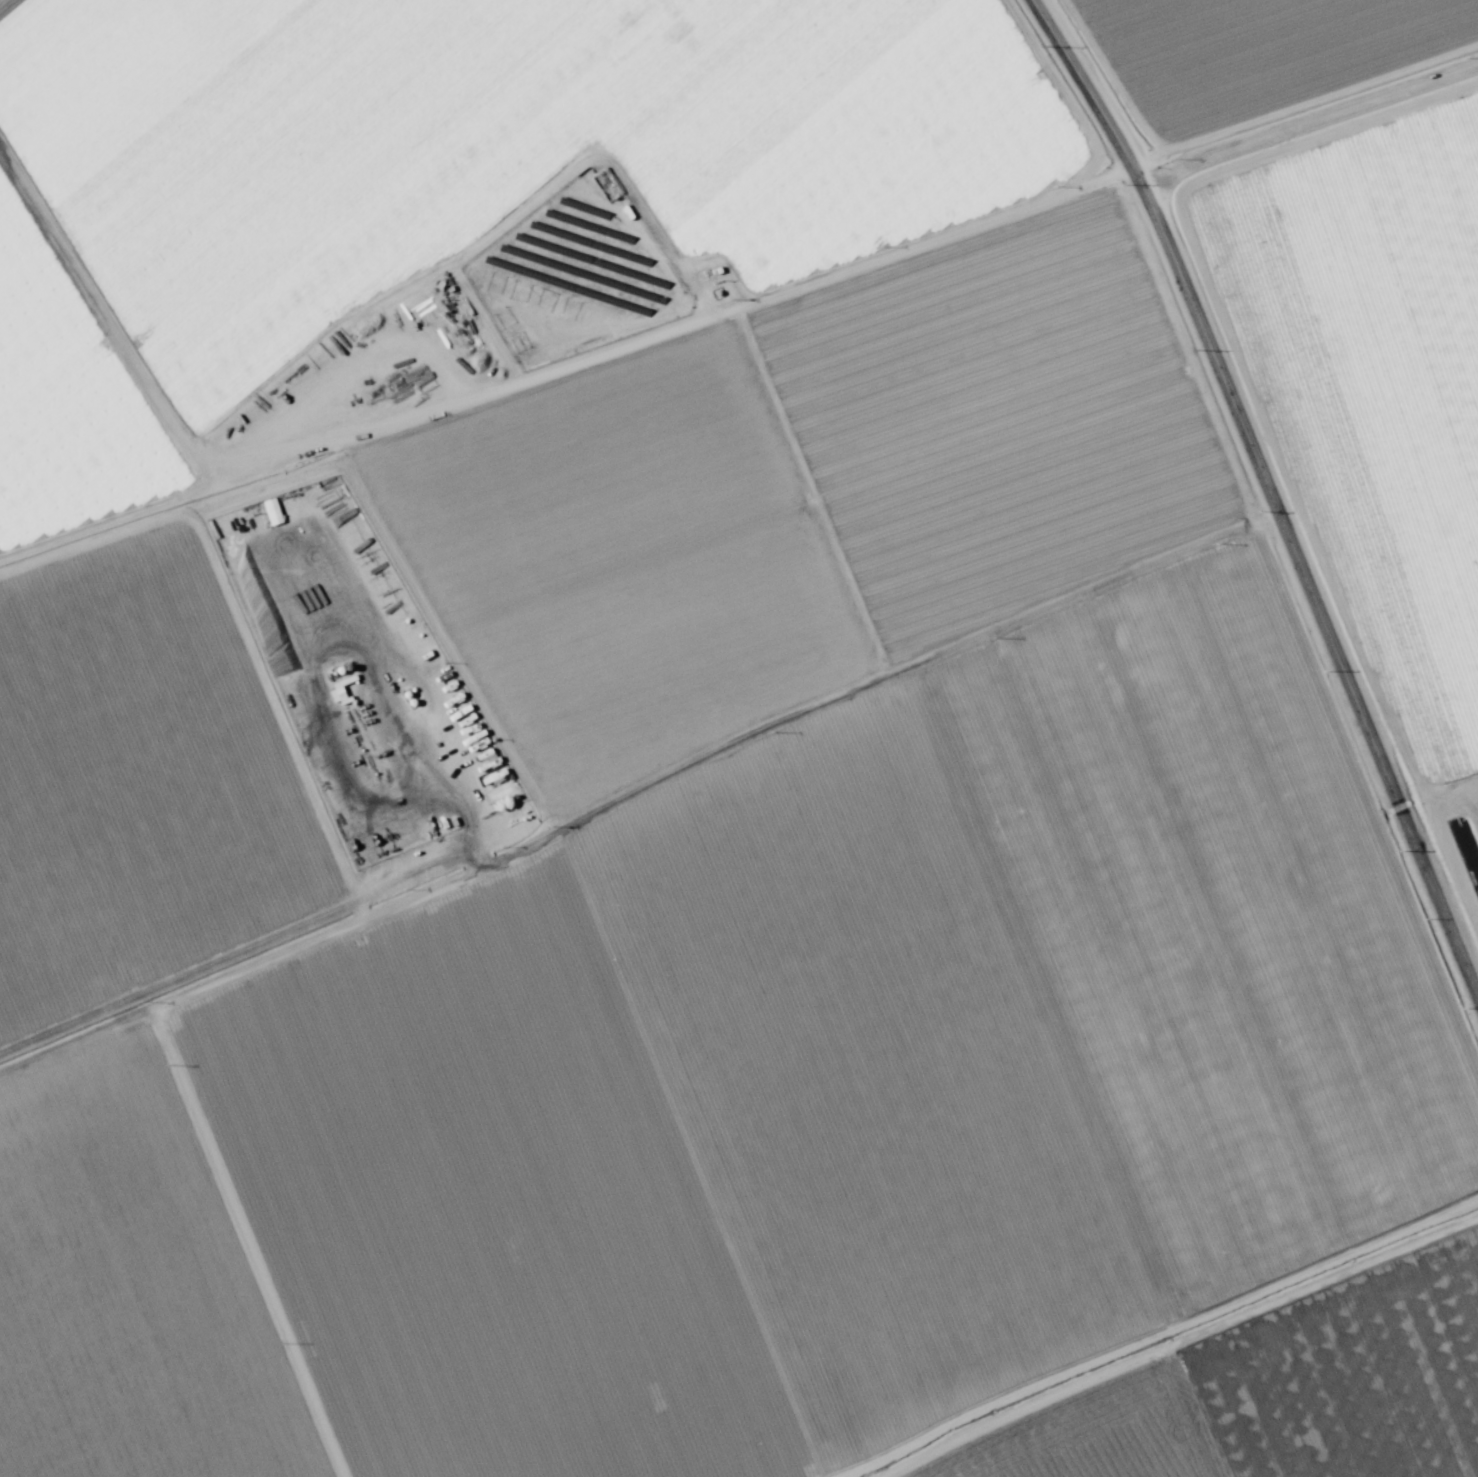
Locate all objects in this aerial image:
road: (736, 306)
building: (421, 377)
road: (1263, 501)
crop: (739, 738)
building: (468, 776)
road: (1153, 1337)

